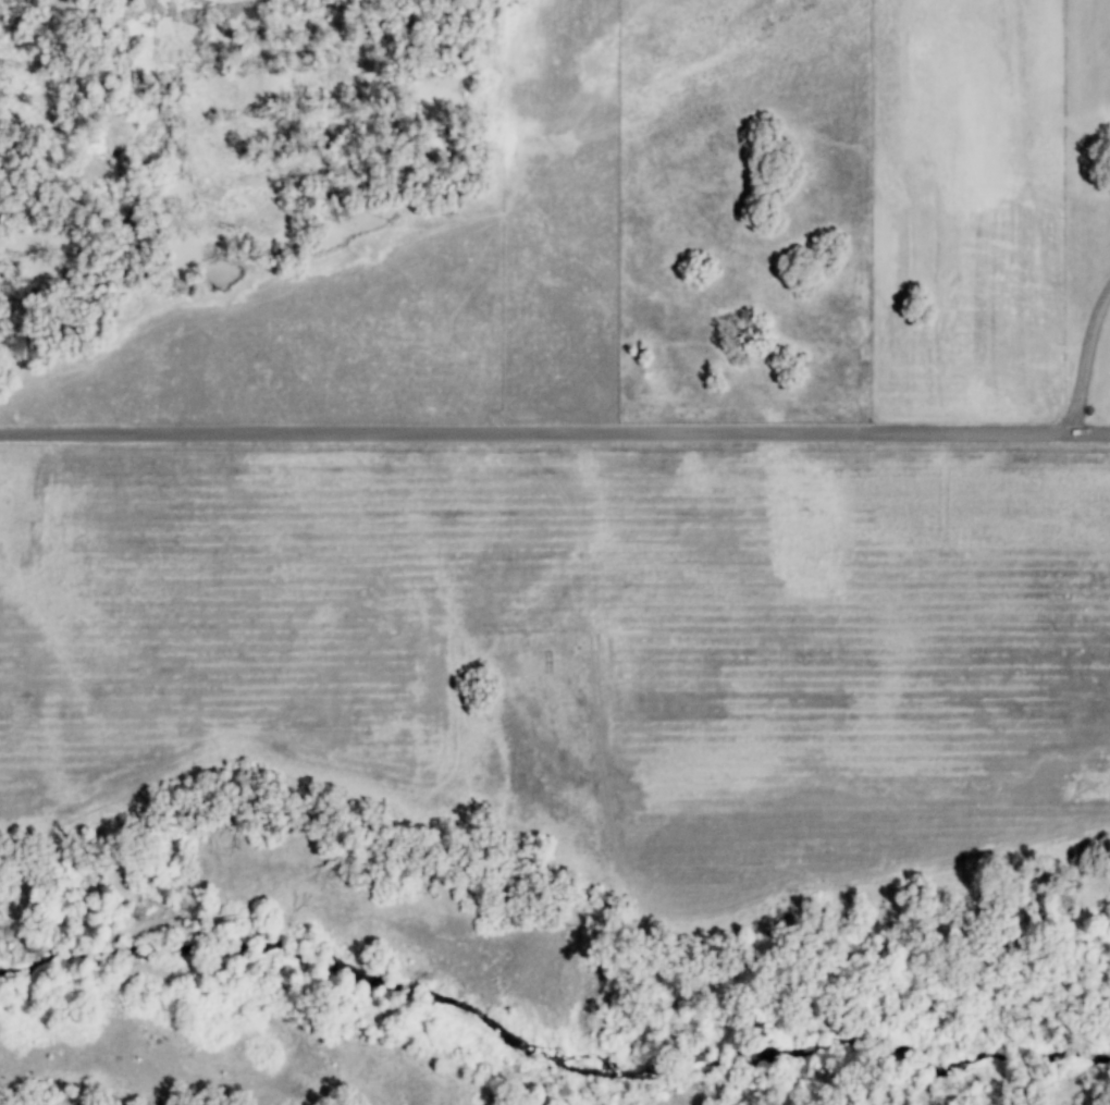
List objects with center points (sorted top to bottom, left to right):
road: (1088, 359)
road: (555, 433)

